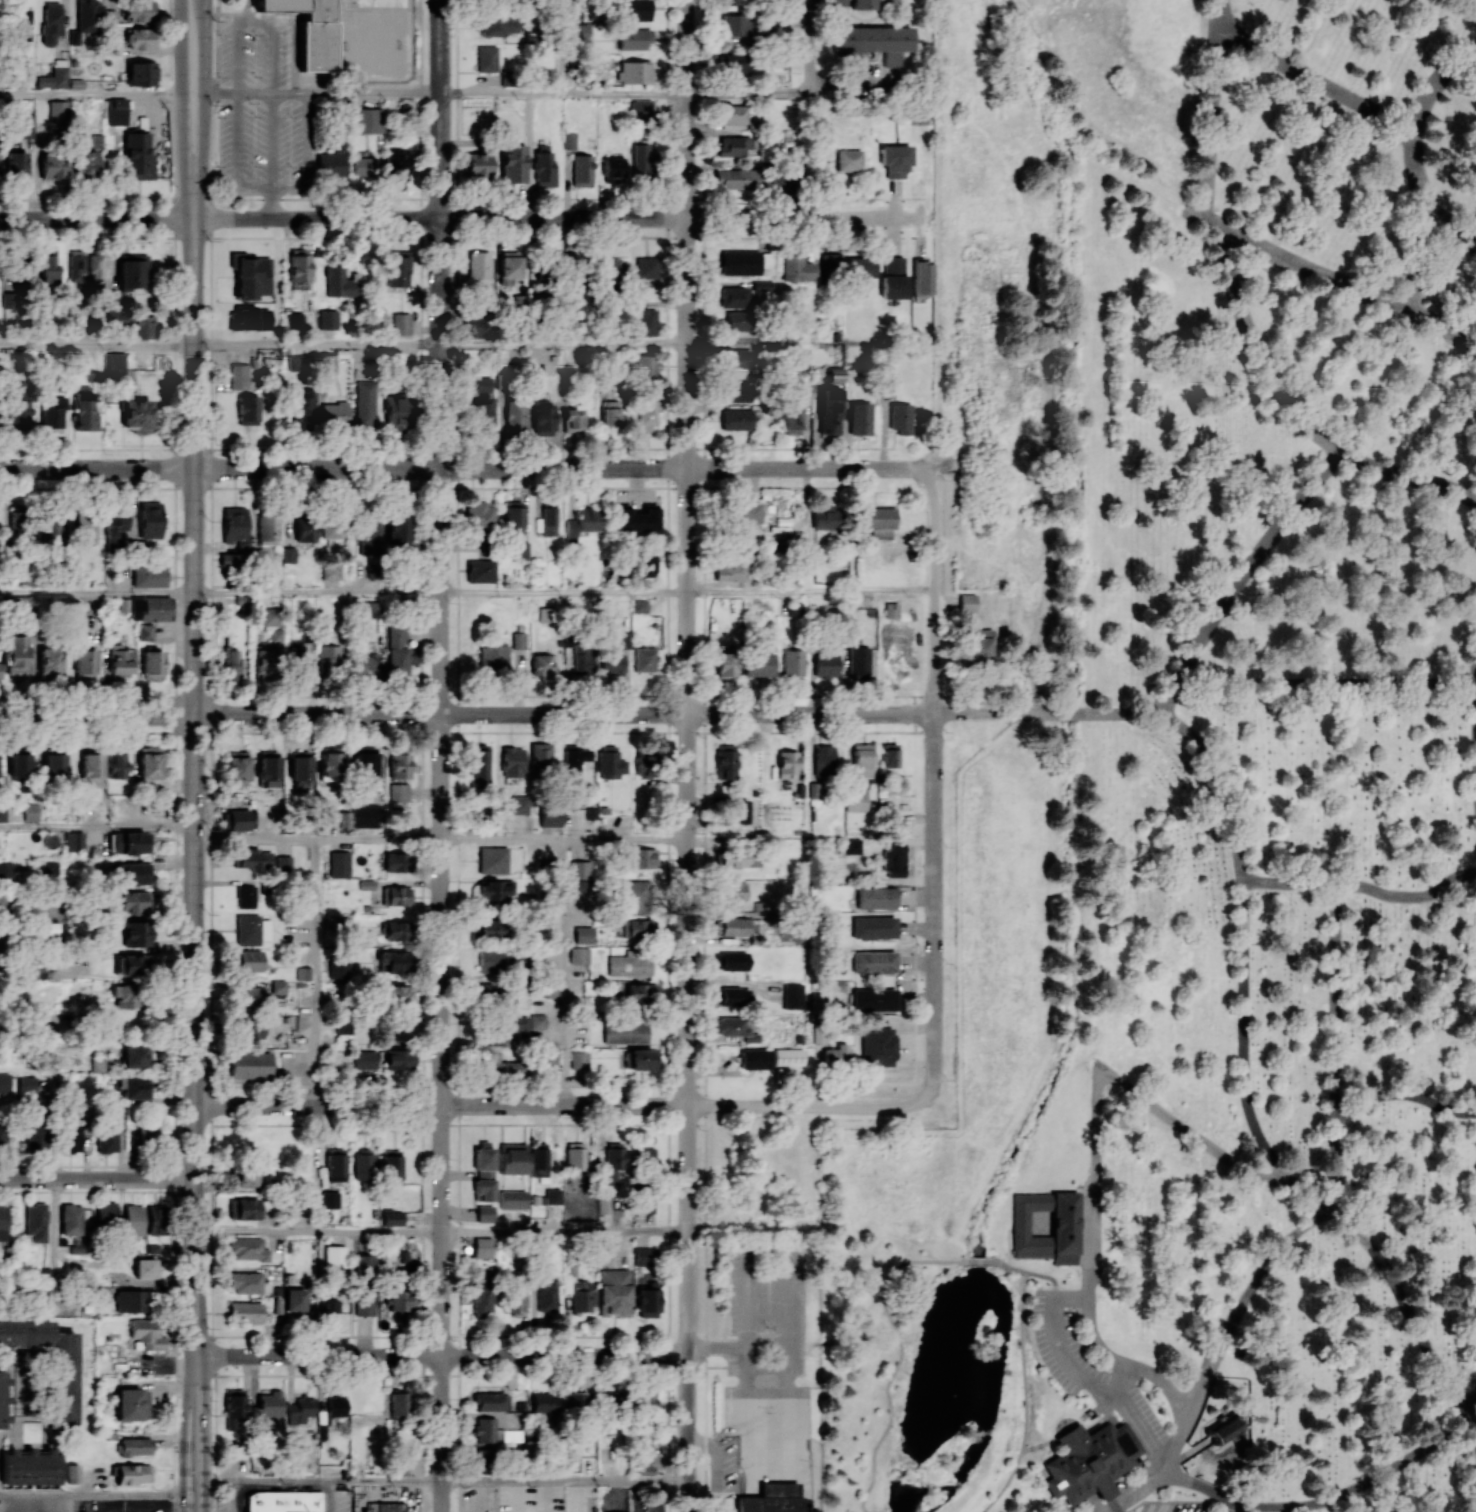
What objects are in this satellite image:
building: (731, 2)
building: (837, 2)
building: (863, 4)
building: (285, 5)
building: (634, 10)
building: (139, 11)
road: (1217, 14)
building: (87, 15)
road: (253, 20)
building: (51, 22)
building: (21, 25)
building: (498, 26)
building: (734, 27)
building: (581, 32)
building: (140, 38)
building: (634, 38)
building: (874, 43)
building: (313, 46)
road: (562, 46)
road: (811, 46)
building: (486, 58)
building: (734, 62)
building: (634, 72)
building: (141, 73)
building: (54, 78)
road: (1314, 81)
road: (1434, 84)
road: (322, 92)
road: (863, 92)
road: (501, 93)
road: (624, 93)
road: (749, 93)
road: (91, 94)
road: (183, 109)
road: (203, 109)
building: (641, 109)
building: (58, 111)
building: (116, 111)
building: (731, 114)
building: (368, 121)
road: (1210, 121)
building: (27, 126)
parking lot: (260, 130)
building: (569, 140)
building: (99, 141)
building: (733, 145)
building: (138, 155)
road: (272, 155)
building: (895, 159)
building: (848, 160)
building: (640, 161)
building: (85, 163)
building: (512, 163)
building: (16, 165)
building: (330, 165)
building: (395, 165)
building: (362, 166)
building: (477, 166)
building: (612, 166)
building: (51, 167)
building: (543, 167)
road: (1415, 167)
building: (581, 170)
building: (785, 175)
building: (735, 178)
road: (1194, 209)
road: (1211, 217)
road: (97, 219)
road: (552, 219)
road: (1449, 226)
road: (1418, 256)
building: (740, 262)
building: (830, 263)
building: (76, 265)
building: (299, 265)
building: (478, 265)
building: (48, 266)
building: (96, 267)
building: (796, 267)
building: (859, 267)
building: (508, 268)
building: (647, 268)
building: (615, 269)
road: (1315, 269)
building: (131, 270)
building: (394, 271)
building: (20, 272)
building: (250, 275)
building: (893, 277)
building: (921, 277)
road: (278, 282)
building: (339, 283)
building: (762, 285)
building: (734, 297)
building: (113, 299)
building: (9, 300)
building: (249, 317)
building: (114, 318)
building: (294, 320)
building: (737, 320)
building: (646, 321)
building: (401, 323)
building: (143, 325)
building: (475, 326)
road: (1446, 328)
road: (97, 345)
road: (317, 345)
road: (564, 345)
road: (1255, 351)
road: (687, 358)
building: (738, 358)
building: (110, 362)
building: (294, 363)
building: (327, 363)
building: (645, 365)
building: (835, 375)
building: (239, 376)
building: (483, 384)
building: (807, 387)
building: (736, 392)
building: (365, 403)
building: (18, 405)
building: (305, 409)
building: (84, 410)
building: (248, 410)
building: (397, 411)
building: (829, 411)
building: (609, 412)
building: (51, 413)
building: (646, 413)
building: (335, 414)
building: (137, 415)
building: (480, 415)
building: (516, 416)
building: (543, 416)
building: (790, 416)
building: (573, 418)
building: (860, 418)
building: (900, 418)
building: (736, 419)
road: (464, 470)
road: (1409, 477)
building: (479, 513)
building: (744, 513)
building: (825, 517)
building: (513, 518)
building: (636, 518)
building: (16, 519)
building: (150, 520)
building: (546, 520)
building: (877, 521)
building: (582, 522)
building: (235, 525)
building: (54, 526)
building: (85, 526)
building: (331, 527)
building: (397, 527)
building: (305, 528)
building: (114, 529)
building: (267, 529)
building: (370, 538)
road: (1252, 563)
building: (647, 564)
building: (330, 571)
building: (480, 571)
building: (730, 571)
building: (148, 576)
road: (97, 592)
road: (318, 592)
road: (811, 592)
road: (564, 593)
building: (149, 608)
building: (371, 609)
building: (891, 610)
building: (545, 614)
building: (270, 617)
building: (145, 632)
building: (624, 639)
building: (518, 640)
building: (977, 644)
building: (397, 650)
building: (18, 656)
building: (494, 657)
building: (298, 658)
building: (328, 658)
building: (583, 659)
building: (644, 659)
building: (51, 661)
building: (121, 661)
building: (792, 662)
building: (858, 662)
building: (85, 663)
building: (264, 663)
building: (611, 663)
building: (152, 664)
building: (365, 664)
building: (541, 664)
building: (759, 664)
building: (825, 665)
building: (232, 666)
building: (1, 671)
road: (1326, 684)
road: (1167, 699)
road: (343, 714)
road: (1045, 714)
road: (811, 716)
road: (441, 756)
building: (540, 757)
building: (574, 758)
building: (889, 758)
building: (822, 760)
building: (862, 760)
building: (20, 761)
building: (53, 761)
building: (725, 761)
building: (149, 762)
building: (512, 762)
building: (610, 762)
building: (645, 763)
building: (787, 763)
building: (116, 764)
building: (366, 764)
building: (330, 765)
building: (399, 765)
building: (479, 765)
building: (238, 768)
building: (269, 768)
building: (91, 769)
road: (1224, 782)
road: (195, 787)
road: (934, 789)
building: (399, 792)
building: (856, 801)
building: (519, 805)
building: (736, 811)
building: (31, 812)
building: (3, 813)
building: (328, 815)
building: (364, 816)
building: (550, 818)
building: (238, 819)
building: (344, 819)
road: (97, 827)
park: (1228, 827)
road: (255, 839)
road: (379, 839)
road: (502, 839)
road: (625, 839)
building: (74, 841)
building: (135, 842)
building: (852, 846)
building: (641, 857)
building: (733, 858)
building: (254, 859)
building: (493, 859)
building: (893, 860)
building: (395, 862)
building: (283, 864)
building: (338, 864)
building: (49, 867)
building: (579, 869)
building: (6, 872)
building: (134, 872)
road: (1290, 883)
building: (366, 884)
building: (577, 887)
building: (494, 890)
building: (731, 891)
building: (399, 895)
building: (246, 896)
building: (635, 896)
road: (1408, 896)
building: (875, 897)
building: (137, 902)
building: (735, 926)
building: (873, 927)
building: (51, 928)
building: (490, 928)
building: (639, 928)
building: (251, 929)
building: (396, 930)
building: (136, 933)
building: (583, 934)
building: (579, 955)
building: (527, 958)
building: (249, 960)
building: (394, 960)
building: (495, 960)
building: (733, 961)
building: (873, 962)
building: (134, 965)
building: (630, 965)
road: (318, 971)
road: (564, 972)
building: (278, 987)
building: (551, 990)
building: (642, 993)
building: (125, 994)
building: (252, 994)
building: (398, 995)
building: (734, 996)
building: (792, 996)
building: (873, 999)
road: (1337, 1001)
building: (537, 1021)
building: (343, 1027)
building: (506, 1028)
building: (734, 1028)
building: (251, 1029)
building: (399, 1030)
building: (626, 1032)
road: (1244, 1034)
building: (830, 1054)
building: (550, 1056)
building: (136, 1057)
building: (788, 1057)
building: (754, 1058)
building: (365, 1059)
building: (398, 1059)
building: (579, 1059)
building: (643, 1059)
building: (250, 1064)
building: (502, 1066)
road: (1100, 1079)
building: (5, 1083)
building: (28, 1086)
building: (135, 1087)
road: (1404, 1093)
road: (441, 1105)
road: (806, 1106)
road: (688, 1114)
building: (147, 1133)
building: (2, 1136)
building: (35, 1137)
building: (107, 1137)
building: (70, 1138)
building: (614, 1157)
building: (513, 1158)
building: (644, 1158)
building: (539, 1159)
building: (575, 1159)
building: (336, 1161)
building: (363, 1165)
road: (1338, 1165)
building: (391, 1167)
building: (484, 1171)
building: (1335, 1172)
building: (246, 1176)
building: (610, 1176)
road: (98, 1178)
building: (554, 1194)
road: (1308, 1195)
building: (329, 1199)
building: (512, 1199)
building: (604, 1204)
building: (645, 1204)
building: (248, 1208)
building: (485, 1213)
building: (106, 1214)
building: (392, 1217)
building: (71, 1219)
building: (156, 1219)
building: (134, 1220)
building: (3, 1222)
building: (36, 1222)
building: (1023, 1225)
building: (1068, 1230)
road: (319, 1232)
road: (565, 1232)
building: (482, 1246)
building: (248, 1249)
building: (335, 1256)
building: (644, 1256)
building: (364, 1261)
road: (982, 1263)
building: (145, 1267)
road: (1012, 1268)
building: (571, 1271)
road: (1049, 1277)
building: (245, 1281)
building: (101, 1292)
building: (614, 1292)
building: (547, 1296)
building: (581, 1296)
road: (1072, 1297)
building: (481, 1298)
building: (294, 1299)
building: (647, 1299)
building: (131, 1300)
building: (400, 1300)
building: (515, 1301)
building: (364, 1303)
road: (1406, 1303)
road: (1243, 1304)
building: (328, 1305)
building: (246, 1311)
building: (146, 1334)
road: (1094, 1342)
road: (442, 1356)
road: (903, 1357)
road: (1068, 1357)
parking lot: (1091, 1372)
road: (1124, 1381)
road: (1168, 1386)
building: (62, 1387)
building: (21, 1390)
building: (3, 1398)
road: (1027, 1398)
building: (610, 1399)
building: (491, 1401)
building: (575, 1401)
road: (1471, 1401)
building: (543, 1402)
building: (270, 1403)
building: (131, 1404)
building: (644, 1404)
road: (1106, 1404)
building: (336, 1406)
building: (234, 1409)
building: (304, 1411)
road: (1471, 1412)
road: (1136, 1419)
road: (1073, 1423)
building: (484, 1429)
building: (1227, 1431)
road: (184, 1433)
road: (204, 1433)
building: (511, 1435)
building: (135, 1446)
road: (1176, 1448)
building: (643, 1453)
road: (1187, 1455)
building: (1092, 1460)
road: (1160, 1460)
building: (483, 1461)
building: (30, 1467)
building: (73, 1473)
building: (132, 1473)
road: (324, 1479)
road: (566, 1479)
road: (1152, 1483)
road: (1363, 1485)
road: (1204, 1486)
road: (286, 1487)
road: (1110, 1489)
road: (92, 1491)
building: (782, 1491)
building: (1108, 1491)
parking lot: (222, 1499)
building: (256, 1501)
parking lot: (335, 1501)
road: (1122, 1502)
road: (171, 1506)
building: (774, 1506)
parking lot: (1173, 1506)
road: (124, 1507)
building: (384, 1507)
road: (155, 1509)
road: (162, 1509)
road: (1116, 1509)
road: (1237, 1509)
building: (614, 1511)

